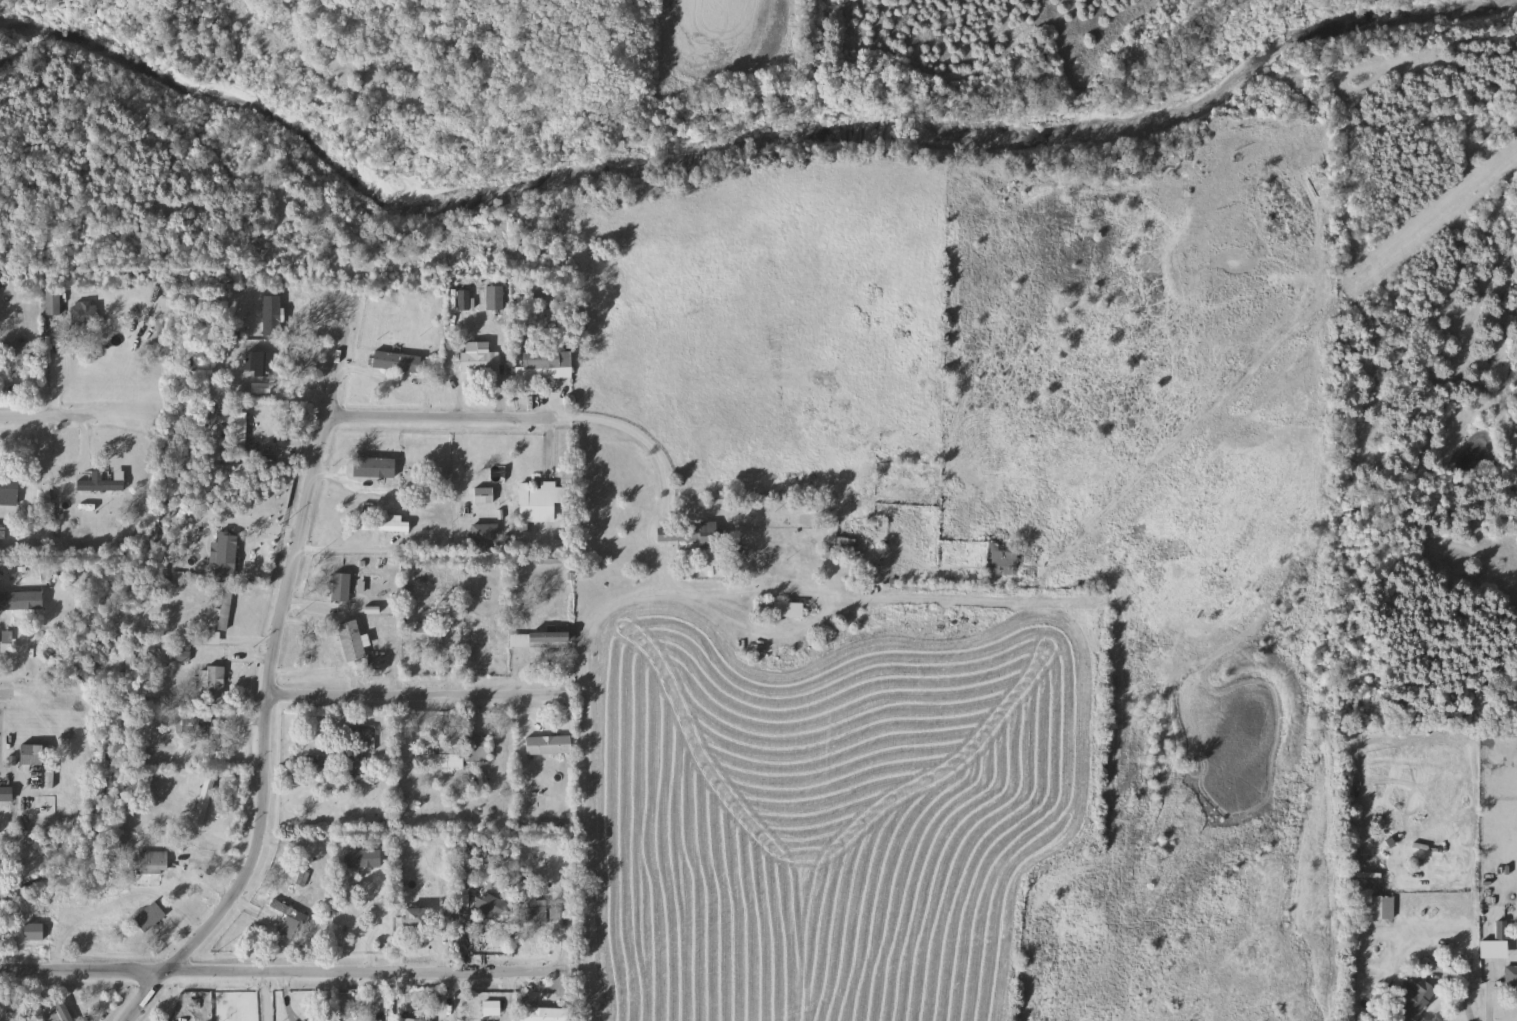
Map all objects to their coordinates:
building: (547, 289)
building: (495, 298)
building: (53, 302)
building: (84, 314)
building: (273, 323)
building: (404, 349)
building: (18, 352)
building: (480, 362)
building: (403, 363)
building: (262, 364)
building: (545, 366)
road: (394, 378)
building: (261, 393)
road: (46, 415)
road: (440, 416)
building: (242, 437)
road: (458, 450)
building: (374, 468)
road: (661, 473)
road: (344, 481)
building: (100, 485)
building: (9, 492)
building: (484, 496)
building: (541, 502)
building: (46, 504)
building: (384, 523)
building: (484, 535)
building: (709, 535)
road: (340, 547)
building: (845, 549)
building: (1002, 560)
building: (342, 588)
road: (781, 594)
road: (882, 598)
building: (22, 601)
building: (225, 610)
building: (786, 610)
road: (597, 621)
building: (429, 634)
building: (541, 640)
building: (352, 641)
building: (215, 685)
road: (413, 691)
road: (9, 693)
road: (263, 696)
road: (582, 703)
building: (550, 748)
building: (479, 750)
building: (36, 754)
building: (449, 759)
building: (323, 764)
road: (586, 848)
building: (363, 859)
building: (151, 864)
road: (182, 874)
building: (296, 881)
building: (493, 906)
building: (1381, 908)
building: (538, 911)
building: (150, 917)
building: (418, 919)
building: (291, 920)
building: (34, 932)
road: (281, 971)
building: (1511, 976)
road: (1458, 988)
road: (284, 990)
road: (1490, 994)
road: (74, 996)
road: (260, 996)
road: (507, 996)
building: (1416, 998)
building: (61, 1014)
building: (544, 1014)
building: (413, 1019)

